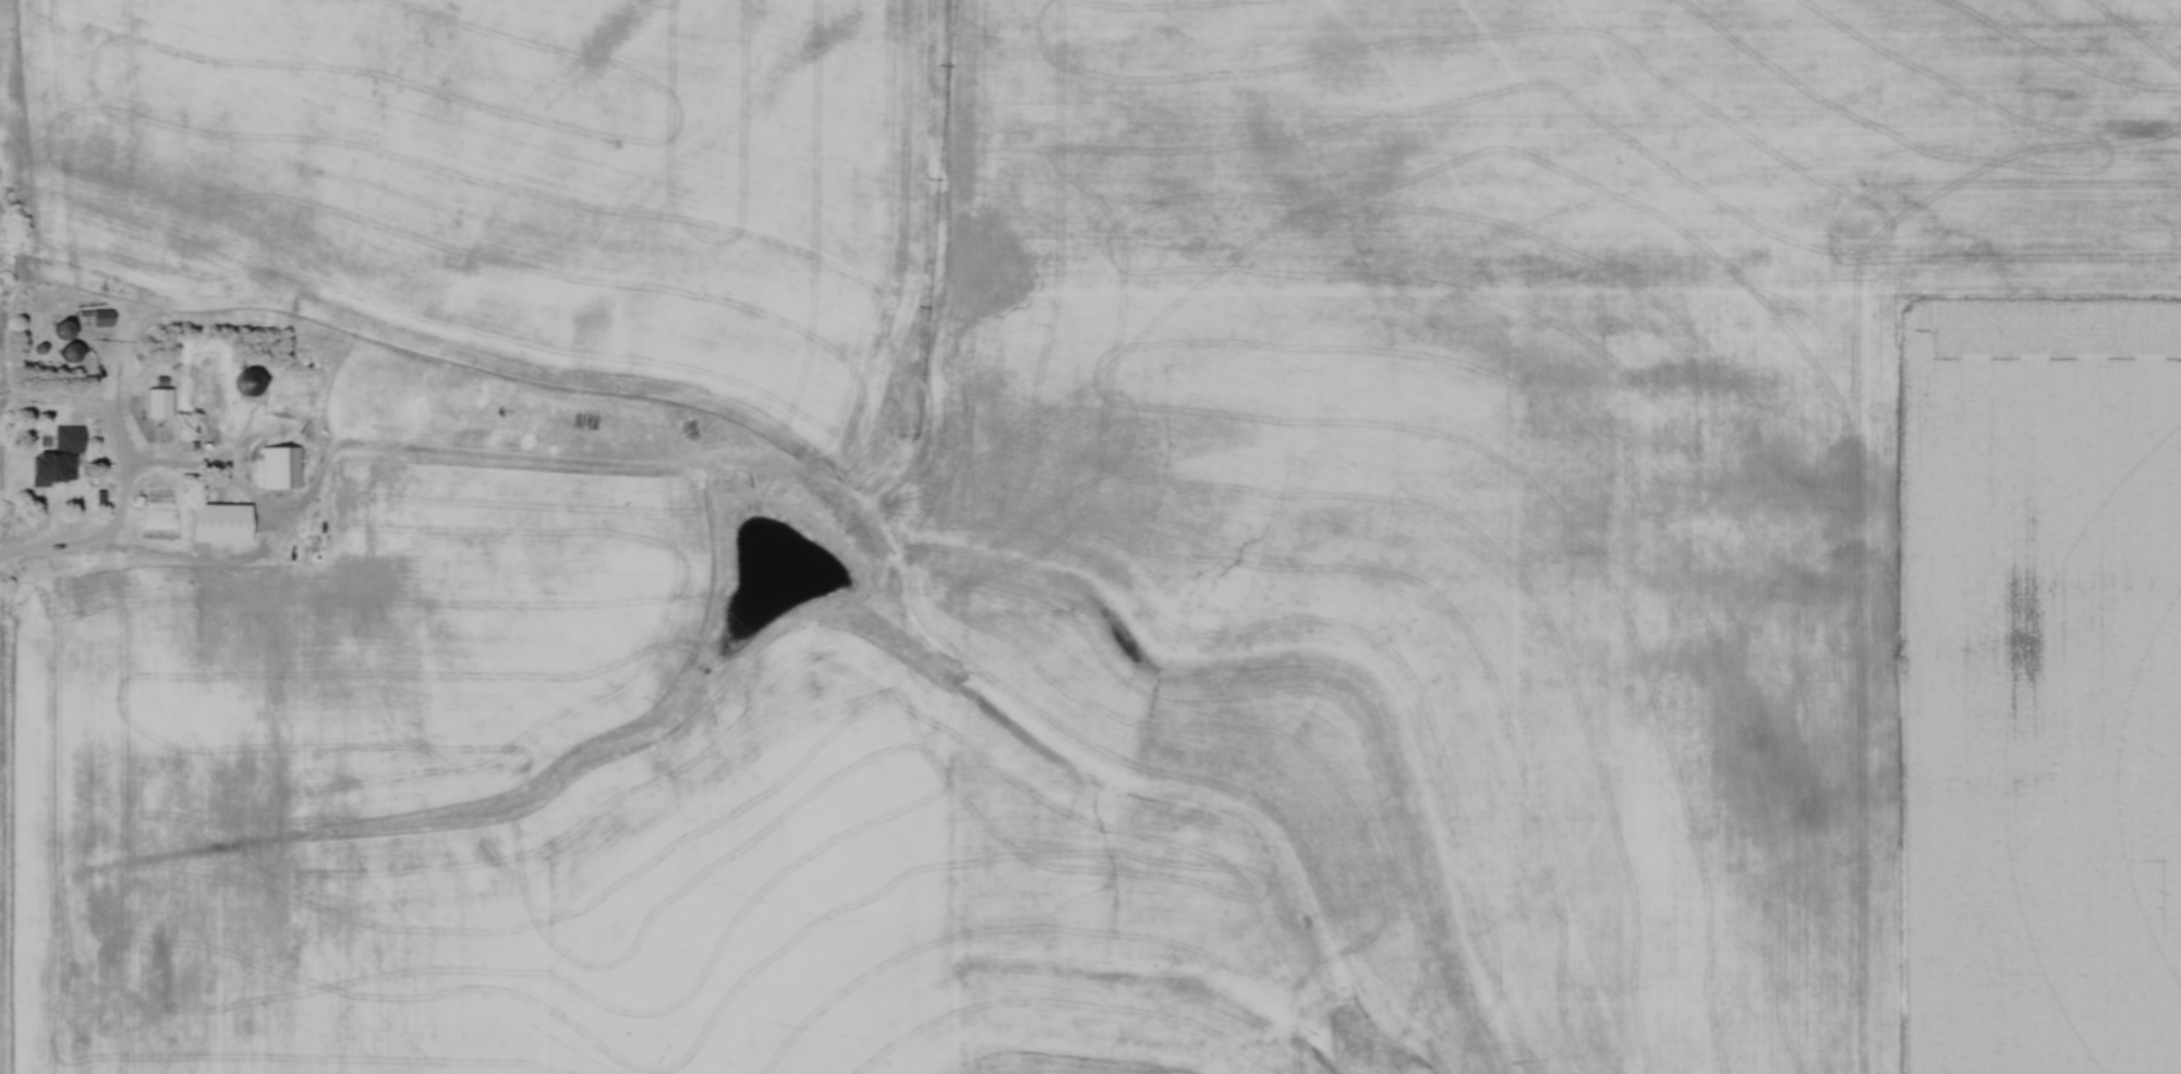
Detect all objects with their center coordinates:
building: (89, 320)
building: (80, 352)
building: (256, 382)
building: (165, 402)
road: (81, 404)
building: (65, 454)
building: (284, 467)
building: (223, 523)
crop: (2044, 688)

